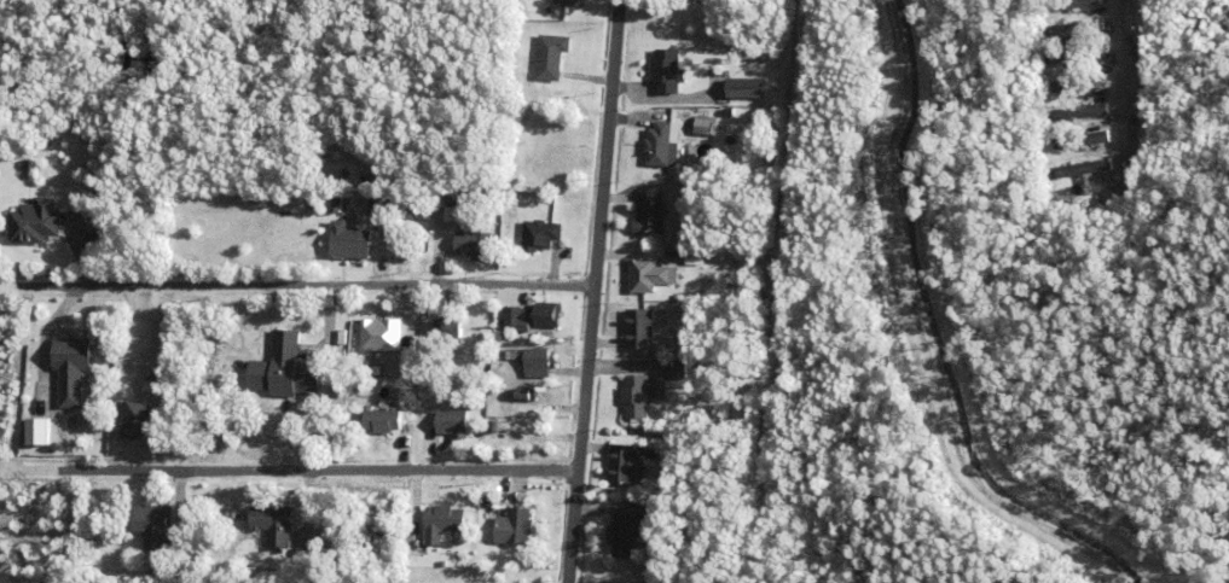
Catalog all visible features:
building: (567, 1)
building: (1079, 5)
building: (1065, 28)
building: (1080, 31)
building: (584, 34)
building: (578, 53)
building: (590, 54)
building: (1060, 57)
building: (551, 59)
building: (1079, 59)
building: (667, 75)
road: (1121, 84)
building: (1061, 86)
building: (743, 87)
building: (1079, 87)
building: (1089, 110)
building: (1062, 113)
building: (1079, 115)
building: (705, 129)
building: (1094, 138)
building: (1079, 145)
building: (661, 150)
building: (1079, 173)
building: (655, 188)
building: (381, 206)
building: (453, 212)
building: (650, 217)
building: (36, 226)
building: (388, 229)
building: (541, 239)
building: (347, 241)
building: (475, 249)
building: (692, 257)
building: (648, 279)
road: (301, 285)
road: (602, 291)
road: (776, 291)
building: (550, 319)
building: (514, 320)
building: (447, 326)
building: (289, 327)
building: (640, 333)
building: (451, 336)
building: (383, 339)
building: (343, 340)
building: (512, 354)
building: (534, 365)
building: (73, 373)
building: (286, 373)
building: (678, 373)
building: (411, 385)
building: (152, 390)
building: (657, 392)
building: (527, 398)
building: (636, 401)
building: (116, 424)
building: (138, 424)
building: (383, 426)
building: (454, 427)
building: (35, 431)
building: (624, 468)
road: (291, 472)
building: (489, 505)
building: (444, 527)
building: (151, 529)
building: (276, 529)
building: (516, 532)
building: (628, 538)
building: (306, 556)
building: (163, 570)
building: (181, 570)

